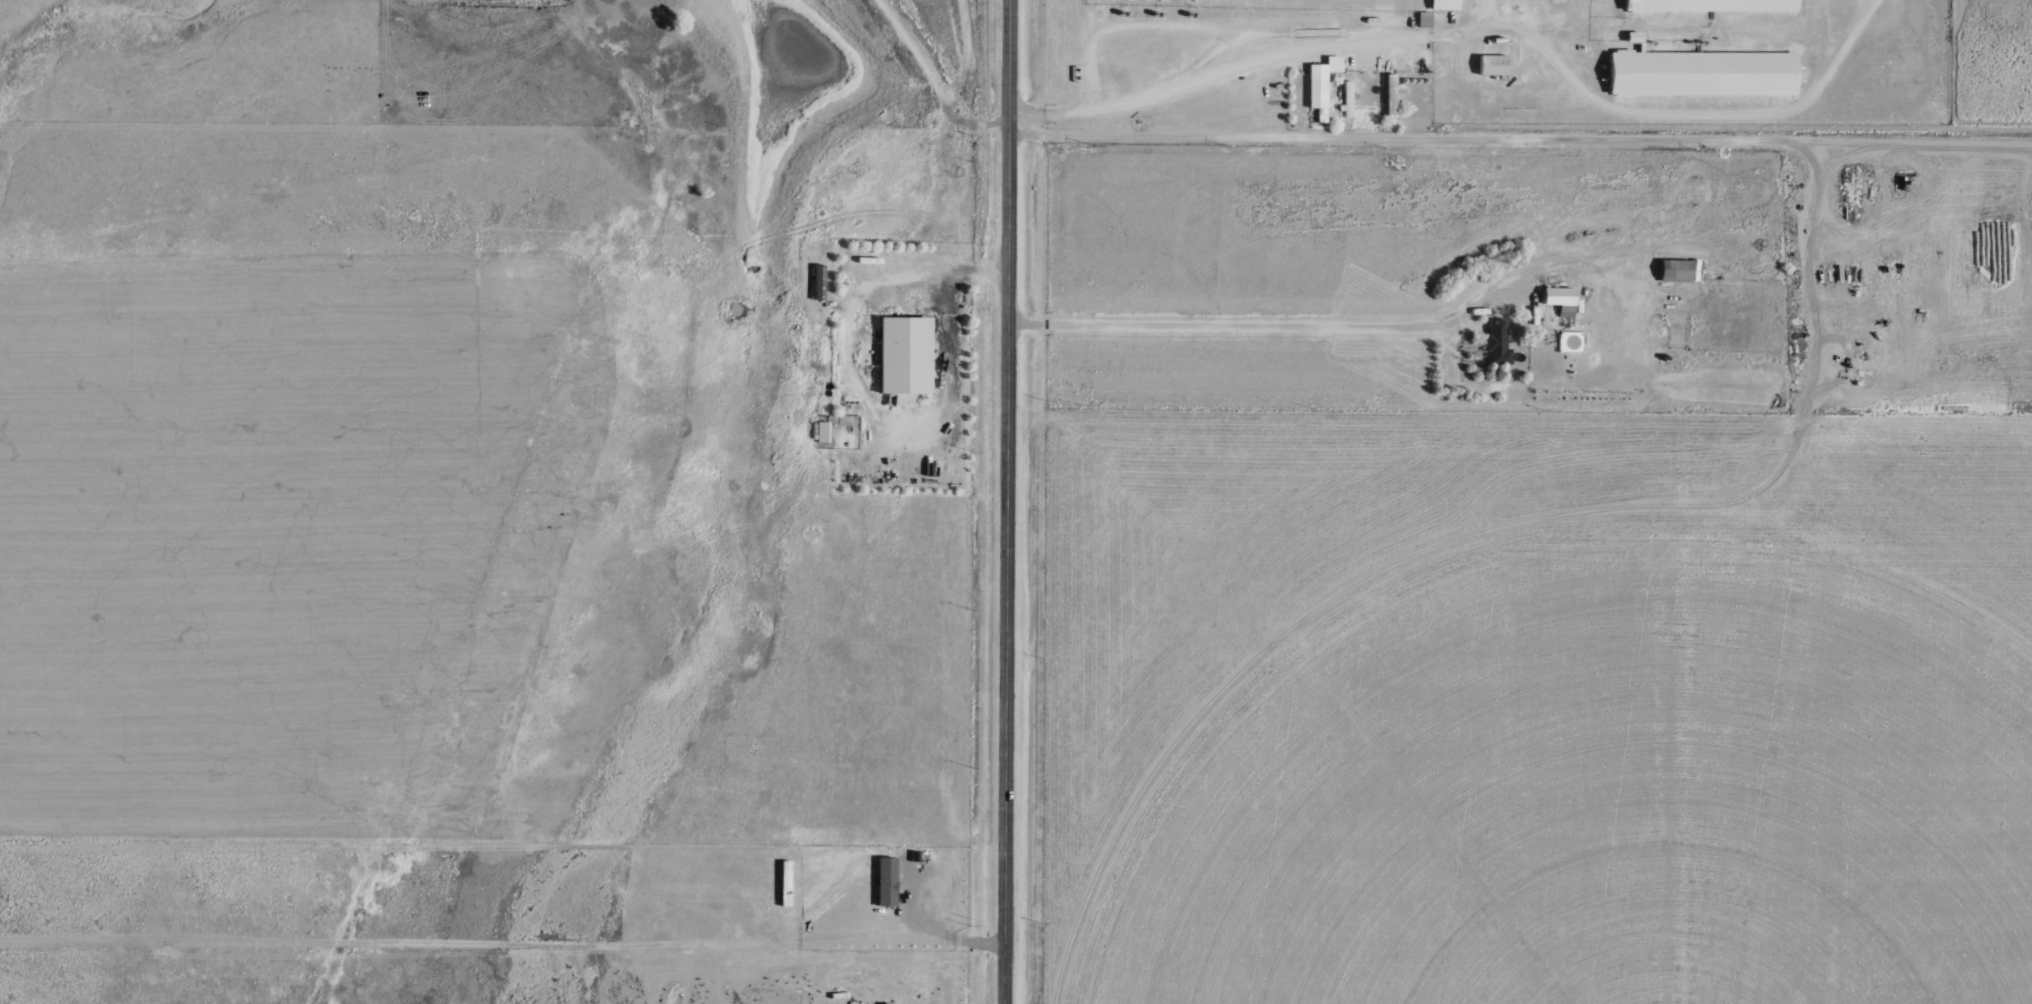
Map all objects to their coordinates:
building: (1445, 5)
building: (1707, 6)
building: (1422, 19)
building: (1492, 64)
road: (1249, 69)
building: (1697, 74)
building: (1317, 89)
building: (1391, 94)
building: (1347, 102)
road: (1522, 136)
building: (1671, 271)
building: (1555, 300)
road: (1271, 325)
building: (1493, 345)
building: (901, 357)
building: (820, 432)
road: (1008, 501)
building: (889, 881)

